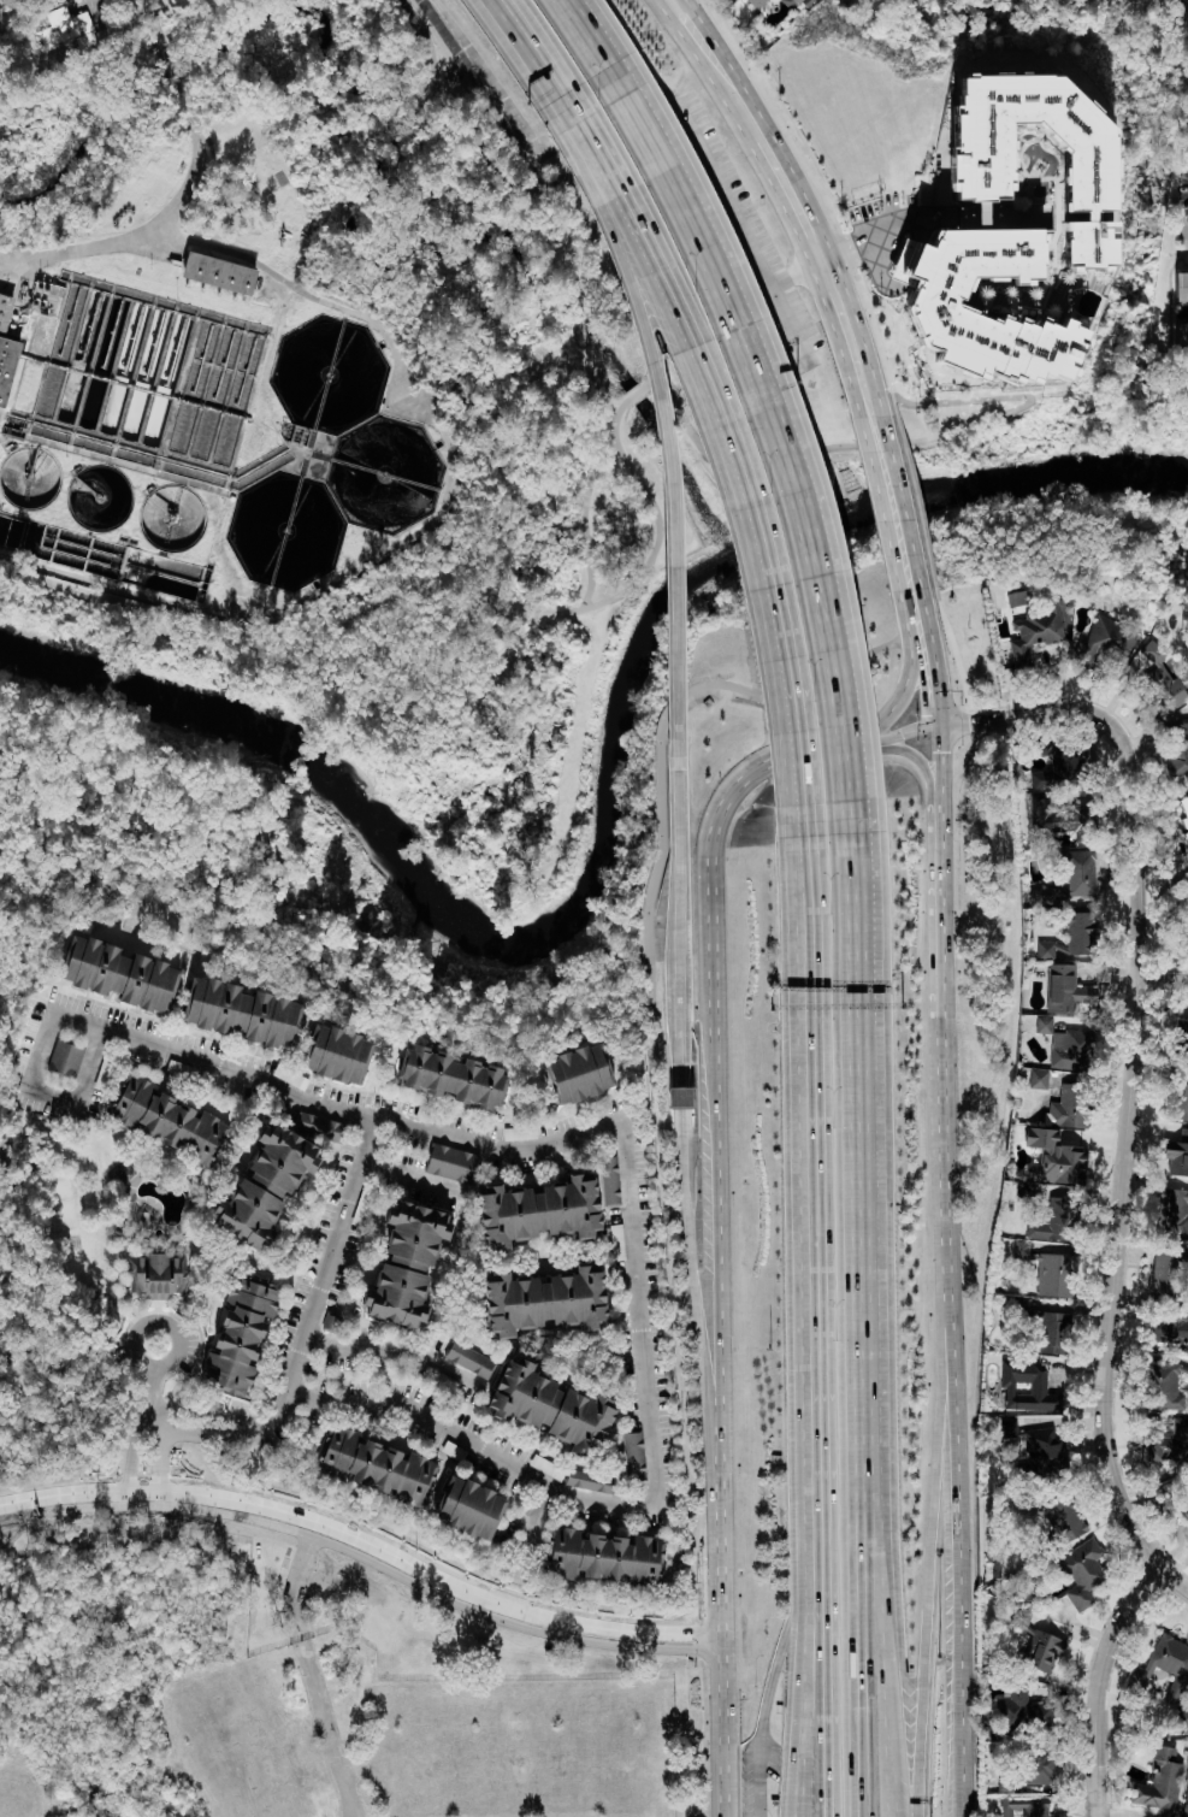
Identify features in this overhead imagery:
building: (756, 2)
building: (793, 2)
road: (155, 19)
building: (65, 30)
road: (592, 48)
building: (1187, 53)
road: (538, 59)
road: (514, 65)
road: (181, 85)
road: (472, 117)
road: (188, 190)
road: (792, 199)
road: (589, 223)
building: (1009, 229)
road: (739, 231)
parking lot: (744, 231)
road: (889, 234)
building: (218, 272)
road: (796, 277)
road: (737, 281)
building: (1181, 285)
road: (731, 306)
building: (5, 309)
road: (688, 324)
building: (1182, 336)
building: (7, 364)
road: (651, 378)
road: (788, 378)
road: (633, 393)
wastewater plant: (202, 425)
road: (667, 425)
road: (908, 442)
road: (449, 448)
road: (812, 499)
road: (896, 501)
road: (585, 526)
road: (403, 594)
building: (1015, 597)
road: (917, 623)
building: (1033, 635)
building: (1105, 641)
road: (834, 666)
road: (788, 674)
building: (1163, 680)
road: (928, 691)
road: (904, 697)
traffic signals: (934, 728)
road: (906, 732)
building: (1178, 744)
road: (822, 753)
road: (921, 763)
building: (1059, 766)
road: (939, 768)
building: (1183, 814)
building: (1059, 818)
river: (614, 831)
building: (1072, 875)
road: (944, 912)
building: (118, 972)
road: (1162, 980)
building: (1065, 987)
building: (243, 1013)
road: (108, 1032)
building: (1183, 1032)
road: (655, 1033)
building: (1065, 1045)
building: (337, 1054)
building: (65, 1058)
road: (1133, 1061)
building: (578, 1073)
building: (450, 1075)
building: (1035, 1076)
building: (680, 1097)
toll booth: (681, 1098)
building: (1180, 1099)
building: (1069, 1104)
road: (681, 1107)
building: (164, 1119)
building: (1176, 1152)
building: (1054, 1157)
building: (450, 1162)
building: (610, 1178)
road: (409, 1184)
building: (264, 1185)
road: (809, 1187)
building: (1027, 1191)
building: (538, 1210)
building: (1056, 1219)
building: (1021, 1249)
building: (406, 1263)
building: (156, 1272)
building: (1165, 1273)
building: (1057, 1274)
road: (321, 1275)
road: (717, 1284)
road: (865, 1288)
building: (544, 1299)
building: (1168, 1328)
building: (1051, 1332)
building: (238, 1334)
road: (389, 1346)
road: (132, 1358)
building: (469, 1358)
road: (642, 1379)
building: (1169, 1384)
building: (1027, 1386)
road: (149, 1402)
building: (551, 1406)
road: (950, 1416)
road: (143, 1418)
road: (242, 1423)
building: (1166, 1426)
road: (164, 1434)
road: (242, 1434)
building: (1166, 1441)
building: (633, 1455)
building: (376, 1464)
building: (587, 1480)
building: (1182, 1505)
building: (469, 1506)
building: (1063, 1517)
road: (525, 1548)
road: (364, 1550)
building: (599, 1556)
building: (666, 1562)
building: (1082, 1571)
road: (1175, 1579)
road: (929, 1580)
road: (290, 1581)
road: (814, 1595)
building: (1042, 1652)
building: (1171, 1674)
road: (1098, 1683)
road: (767, 1688)
building: (1022, 1711)
road: (804, 1716)
road: (827, 1719)
road: (324, 1728)
building: (1033, 1768)
building: (1162, 1781)
road: (876, 1795)
building: (1027, 1806)
building: (1187, 1809)
road: (803, 1813)

